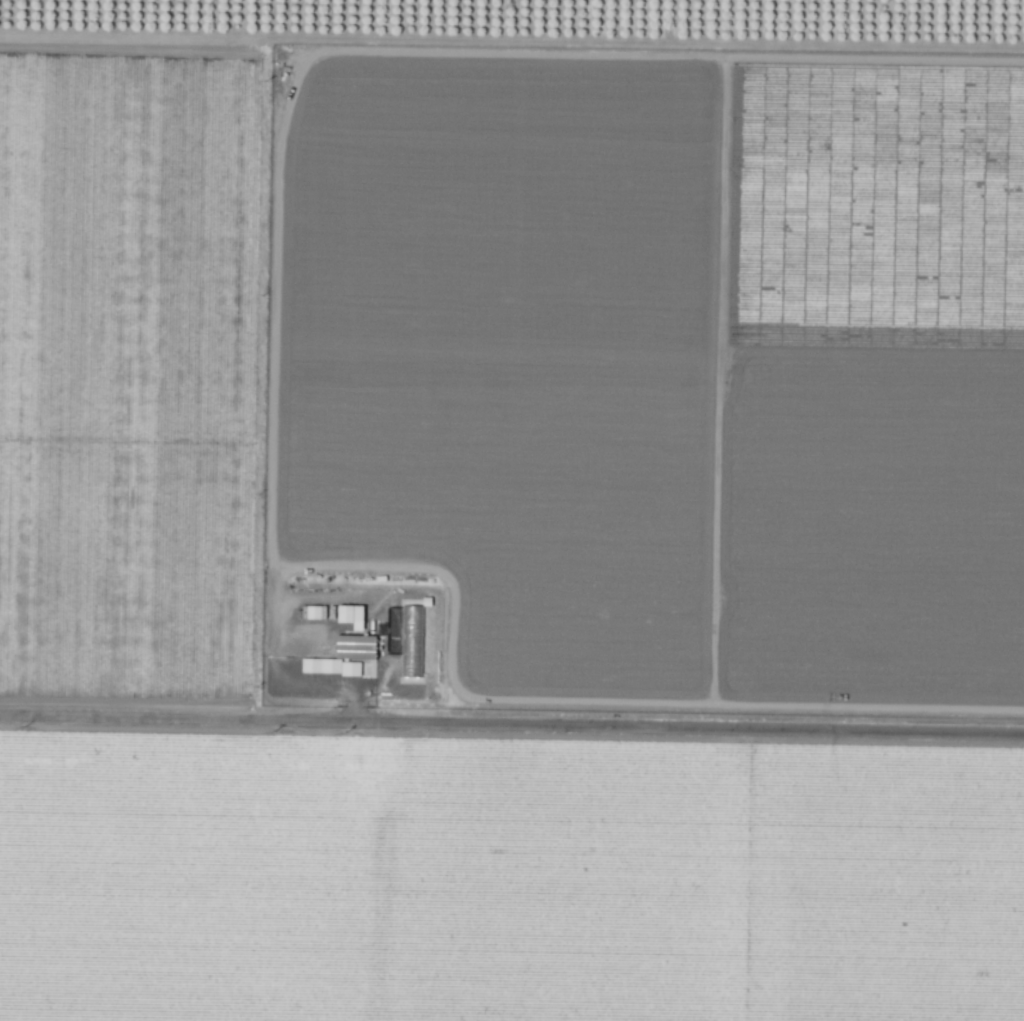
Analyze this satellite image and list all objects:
building: (350, 615)
building: (410, 641)
building: (342, 656)
road: (288, 676)
road: (512, 723)

